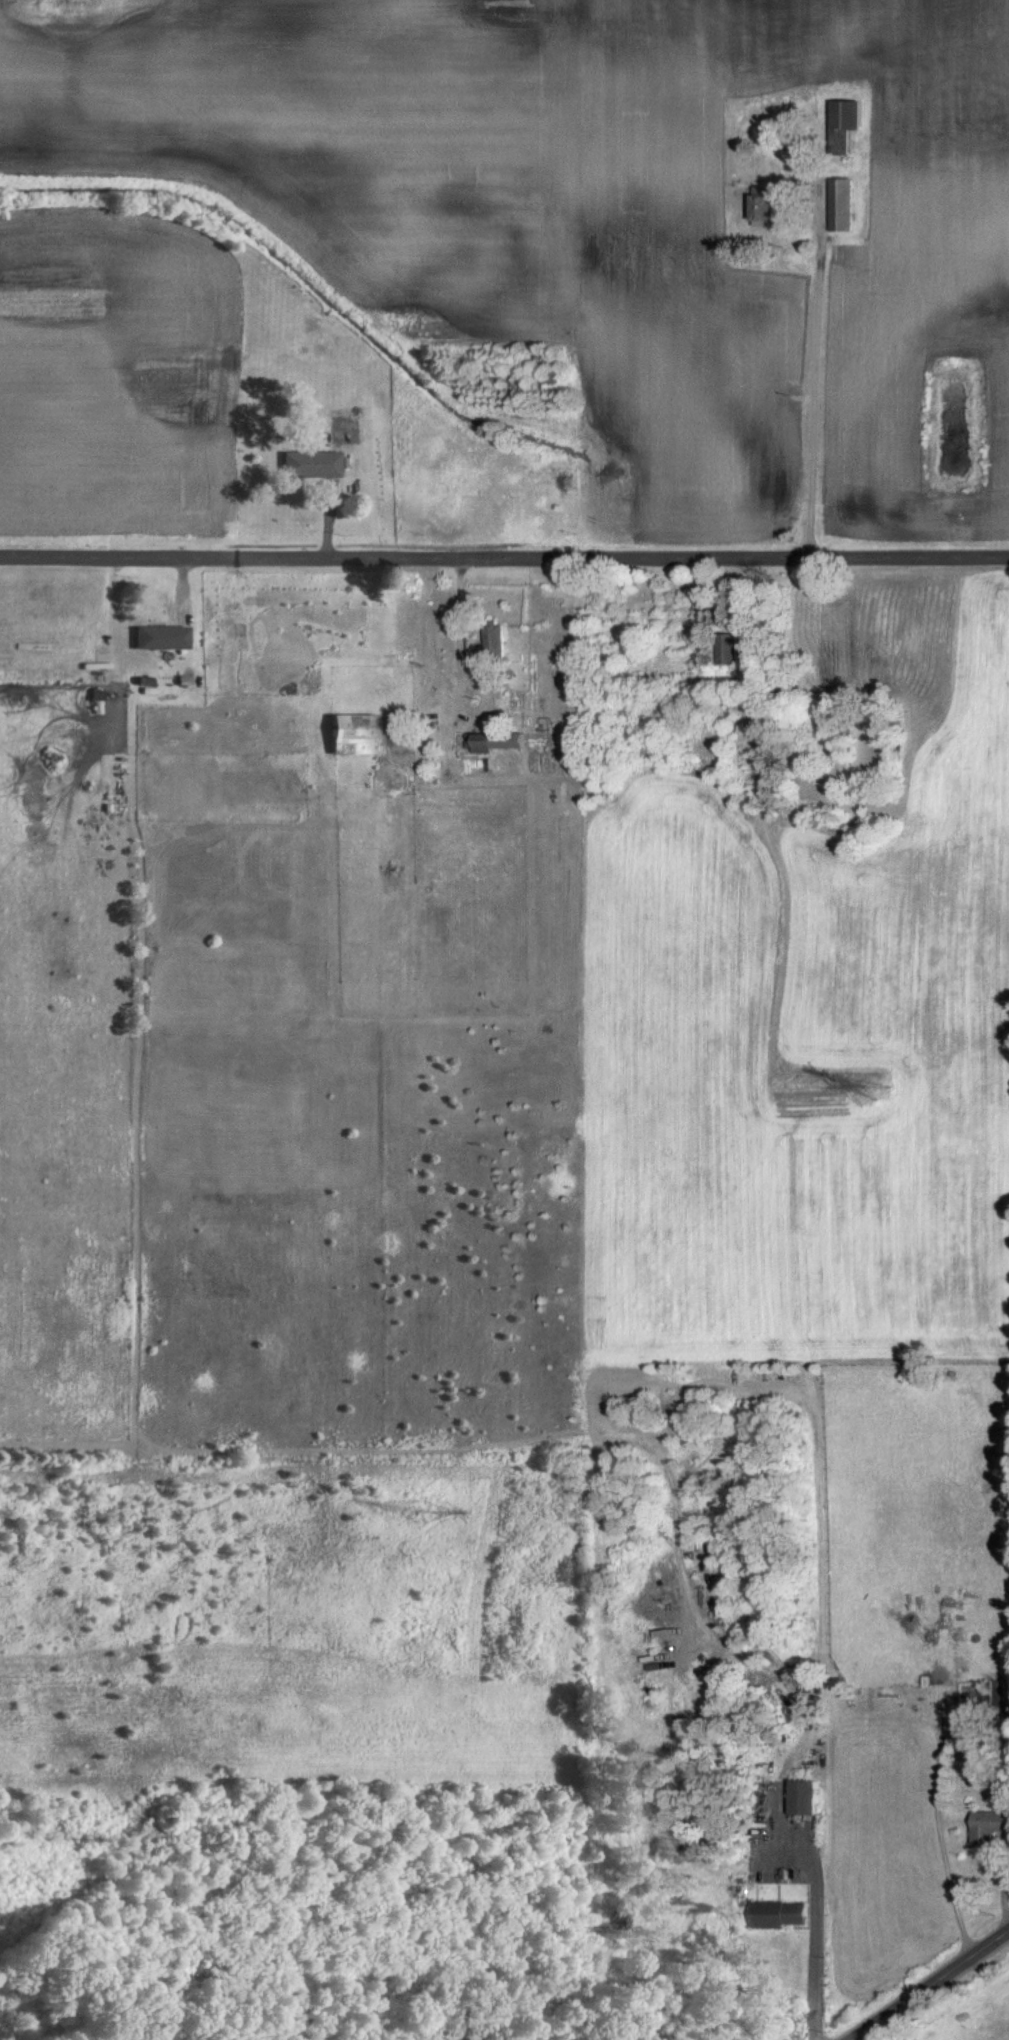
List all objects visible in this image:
building: (846, 115)
road: (819, 382)
building: (307, 465)
road: (504, 564)
road: (460, 630)
building: (160, 638)
building: (498, 640)
building: (728, 649)
building: (353, 735)
building: (485, 743)
power tower: (883, 1085)
power tower: (417, 1514)
building: (804, 1797)
building: (992, 1825)
power tower: (64, 1840)
building: (778, 1914)
road: (814, 1945)
road: (935, 1989)

